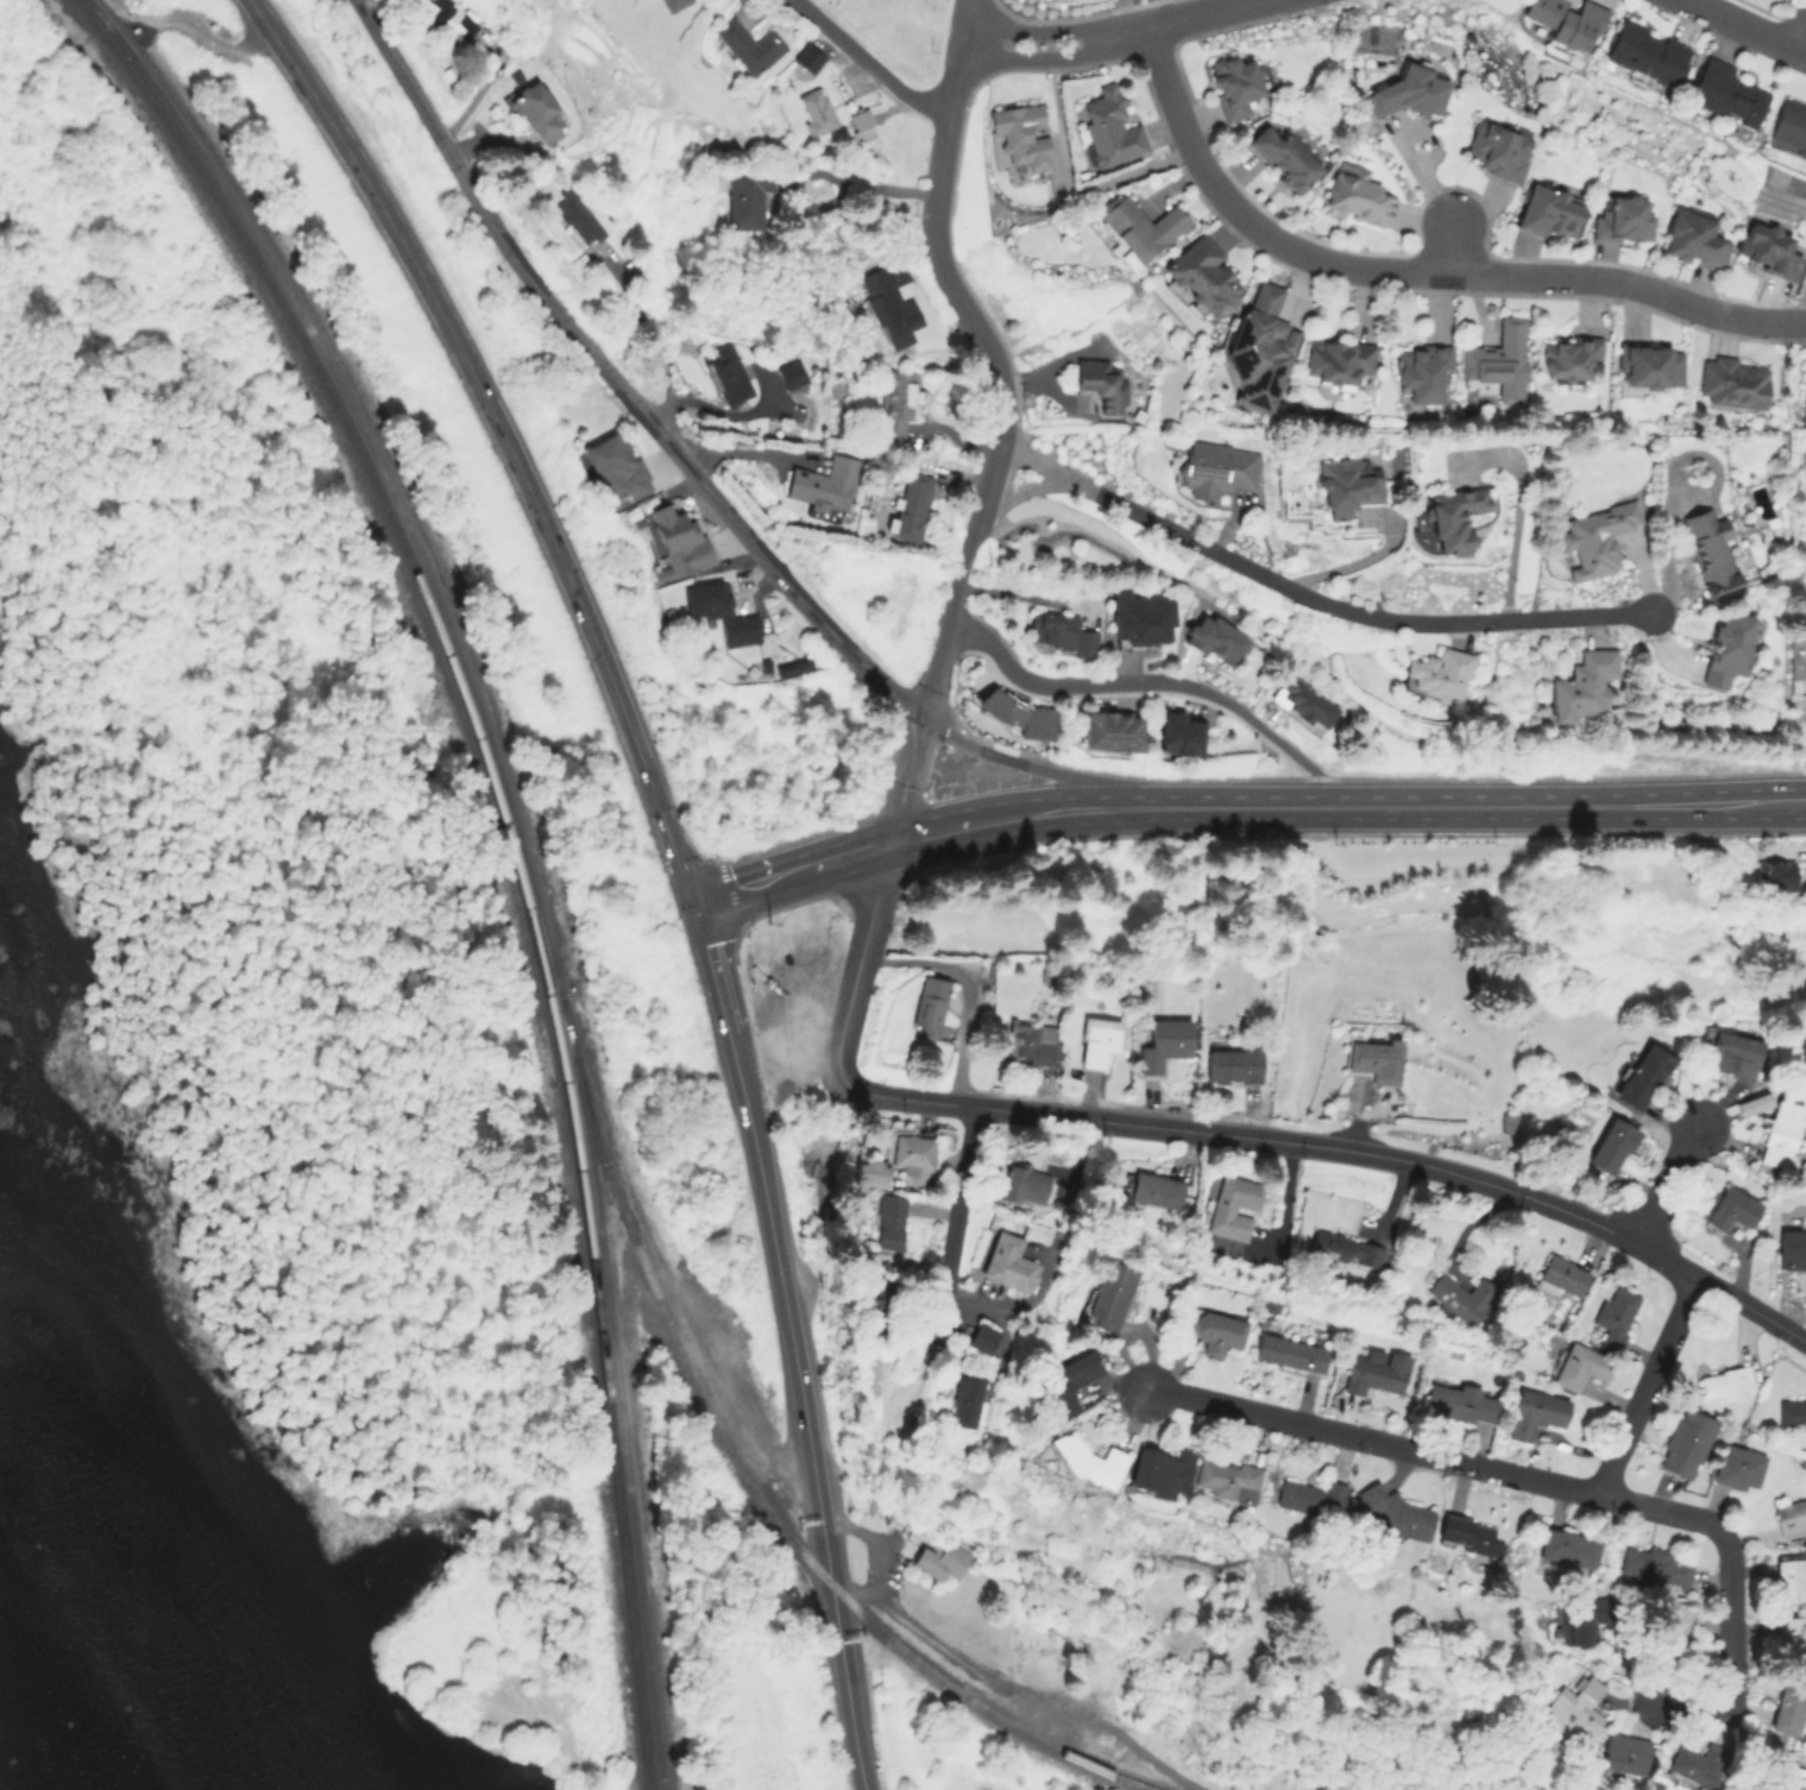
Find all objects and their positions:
building: (672, 4)
building: (451, 17)
building: (1566, 20)
road: (1796, 24)
road: (1747, 26)
power tower: (310, 29)
road: (1118, 34)
building: (748, 45)
building: (1643, 56)
building: (807, 58)
road: (867, 65)
building: (1232, 84)
building: (1405, 90)
building: (1725, 92)
building: (535, 109)
building: (814, 109)
building: (857, 124)
building: (1109, 126)
building: (1788, 128)
building: (1021, 133)
building: (1498, 147)
building: (1284, 157)
road: (829, 177)
building: (1357, 194)
building: (743, 196)
building: (1547, 209)
building: (578, 215)
building: (1621, 219)
building: (1138, 227)
building: (1692, 239)
building: (1767, 247)
road: (942, 265)
road: (1417, 270)
building: (1201, 275)
building: (888, 297)
power tower: (482, 316)
road: (650, 341)
building: (1259, 349)
building: (1568, 357)
building: (1499, 359)
building: (1336, 360)
building: (1649, 366)
building: (1421, 370)
building: (728, 373)
building: (791, 376)
road: (613, 378)
building: (1732, 380)
building: (1101, 382)
building: (1804, 389)
building: (895, 401)
road: (732, 414)
road: (502, 434)
road: (749, 449)
building: (615, 466)
building: (1215, 468)
building: (824, 483)
building: (1346, 485)
road: (1026, 491)
building: (910, 505)
building: (1449, 517)
road: (1515, 517)
building: (1596, 537)
building: (677, 542)
building: (1710, 553)
road: (1357, 560)
road: (963, 568)
road: (1308, 597)
building: (719, 611)
building: (1141, 618)
building: (1061, 632)
building: (1214, 638)
building: (1725, 647)
road: (933, 669)
building: (1435, 673)
road: (1153, 681)
building: (1580, 683)
building: (1304, 700)
building: (1018, 713)
building: (1108, 729)
building: (1178, 732)
road: (1044, 769)
road: (904, 780)
road: (1490, 806)
road: (1030, 813)
railway: (509, 844)
railway: (521, 845)
road: (789, 871)
building: (1775, 878)
traffic signals: (691, 901)
power tower: (768, 922)
road: (861, 954)
road: (964, 985)
building: (927, 1004)
building: (1096, 1040)
building: (1030, 1042)
building: (1164, 1044)
building: (1731, 1054)
building: (1373, 1058)
building: (1232, 1064)
building: (1643, 1074)
building: (1752, 1103)
building: (1508, 1123)
road: (1276, 1133)
building: (1780, 1133)
building: (1610, 1145)
building: (911, 1151)
building: (867, 1171)
road: (1667, 1180)
building: (1021, 1181)
building: (1154, 1189)
road: (962, 1191)
building: (1062, 1196)
building: (1232, 1206)
building: (1730, 1208)
building: (888, 1215)
road: (773, 1238)
building: (1345, 1248)
building: (1791, 1248)
building: (1007, 1262)
building: (1561, 1277)
building: (1106, 1294)
building: (880, 1296)
building: (1461, 1297)
road: (1751, 1307)
building: (1615, 1315)
building: (1214, 1330)
building: (982, 1336)
building: (1289, 1351)
building: (1579, 1366)
building: (1373, 1370)
building: (1069, 1380)
road: (1647, 1382)
building: (1726, 1382)
building: (964, 1399)
building: (1456, 1400)
building: (1534, 1412)
building: (1791, 1412)
building: (1684, 1442)
road: (1443, 1455)
building: (1087, 1458)
building: (1737, 1467)
building: (1159, 1469)
building: (1227, 1479)
railway: (747, 1481)
building: (1308, 1496)
building: (1392, 1513)
building: (1791, 1517)
building: (1464, 1532)
road: (875, 1543)
building: (1566, 1549)
building: (940, 1557)
building: (1654, 1563)
building: (1788, 1577)
building: (1582, 1618)
building: (1672, 1621)
road: (1730, 1622)
building: (1788, 1635)
road: (845, 1685)
road: (1012, 1685)
building: (1573, 1707)
road: (1691, 1707)
building: (1785, 1710)
building: (1622, 1752)
building: (1692, 1767)
building: (1754, 1780)

